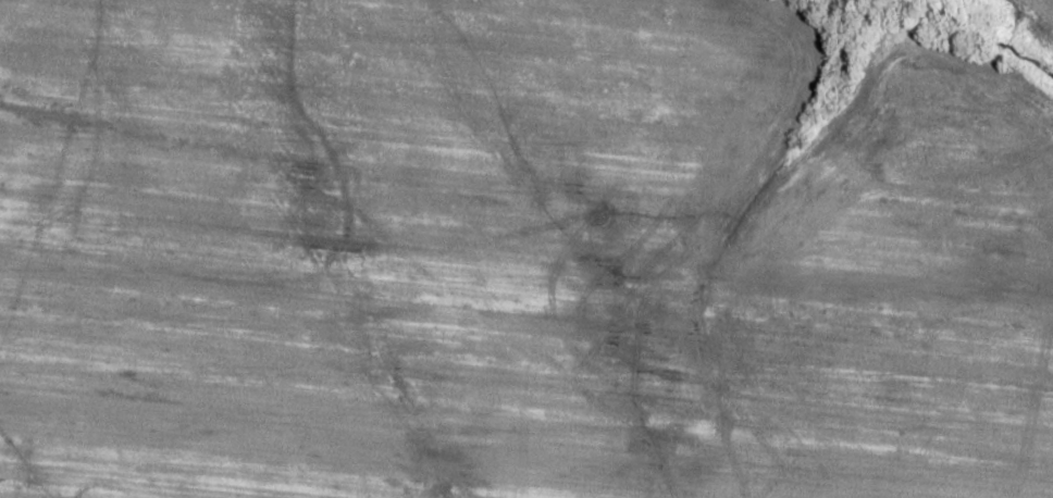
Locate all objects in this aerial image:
road: (1038, 8)
road: (628, 443)

